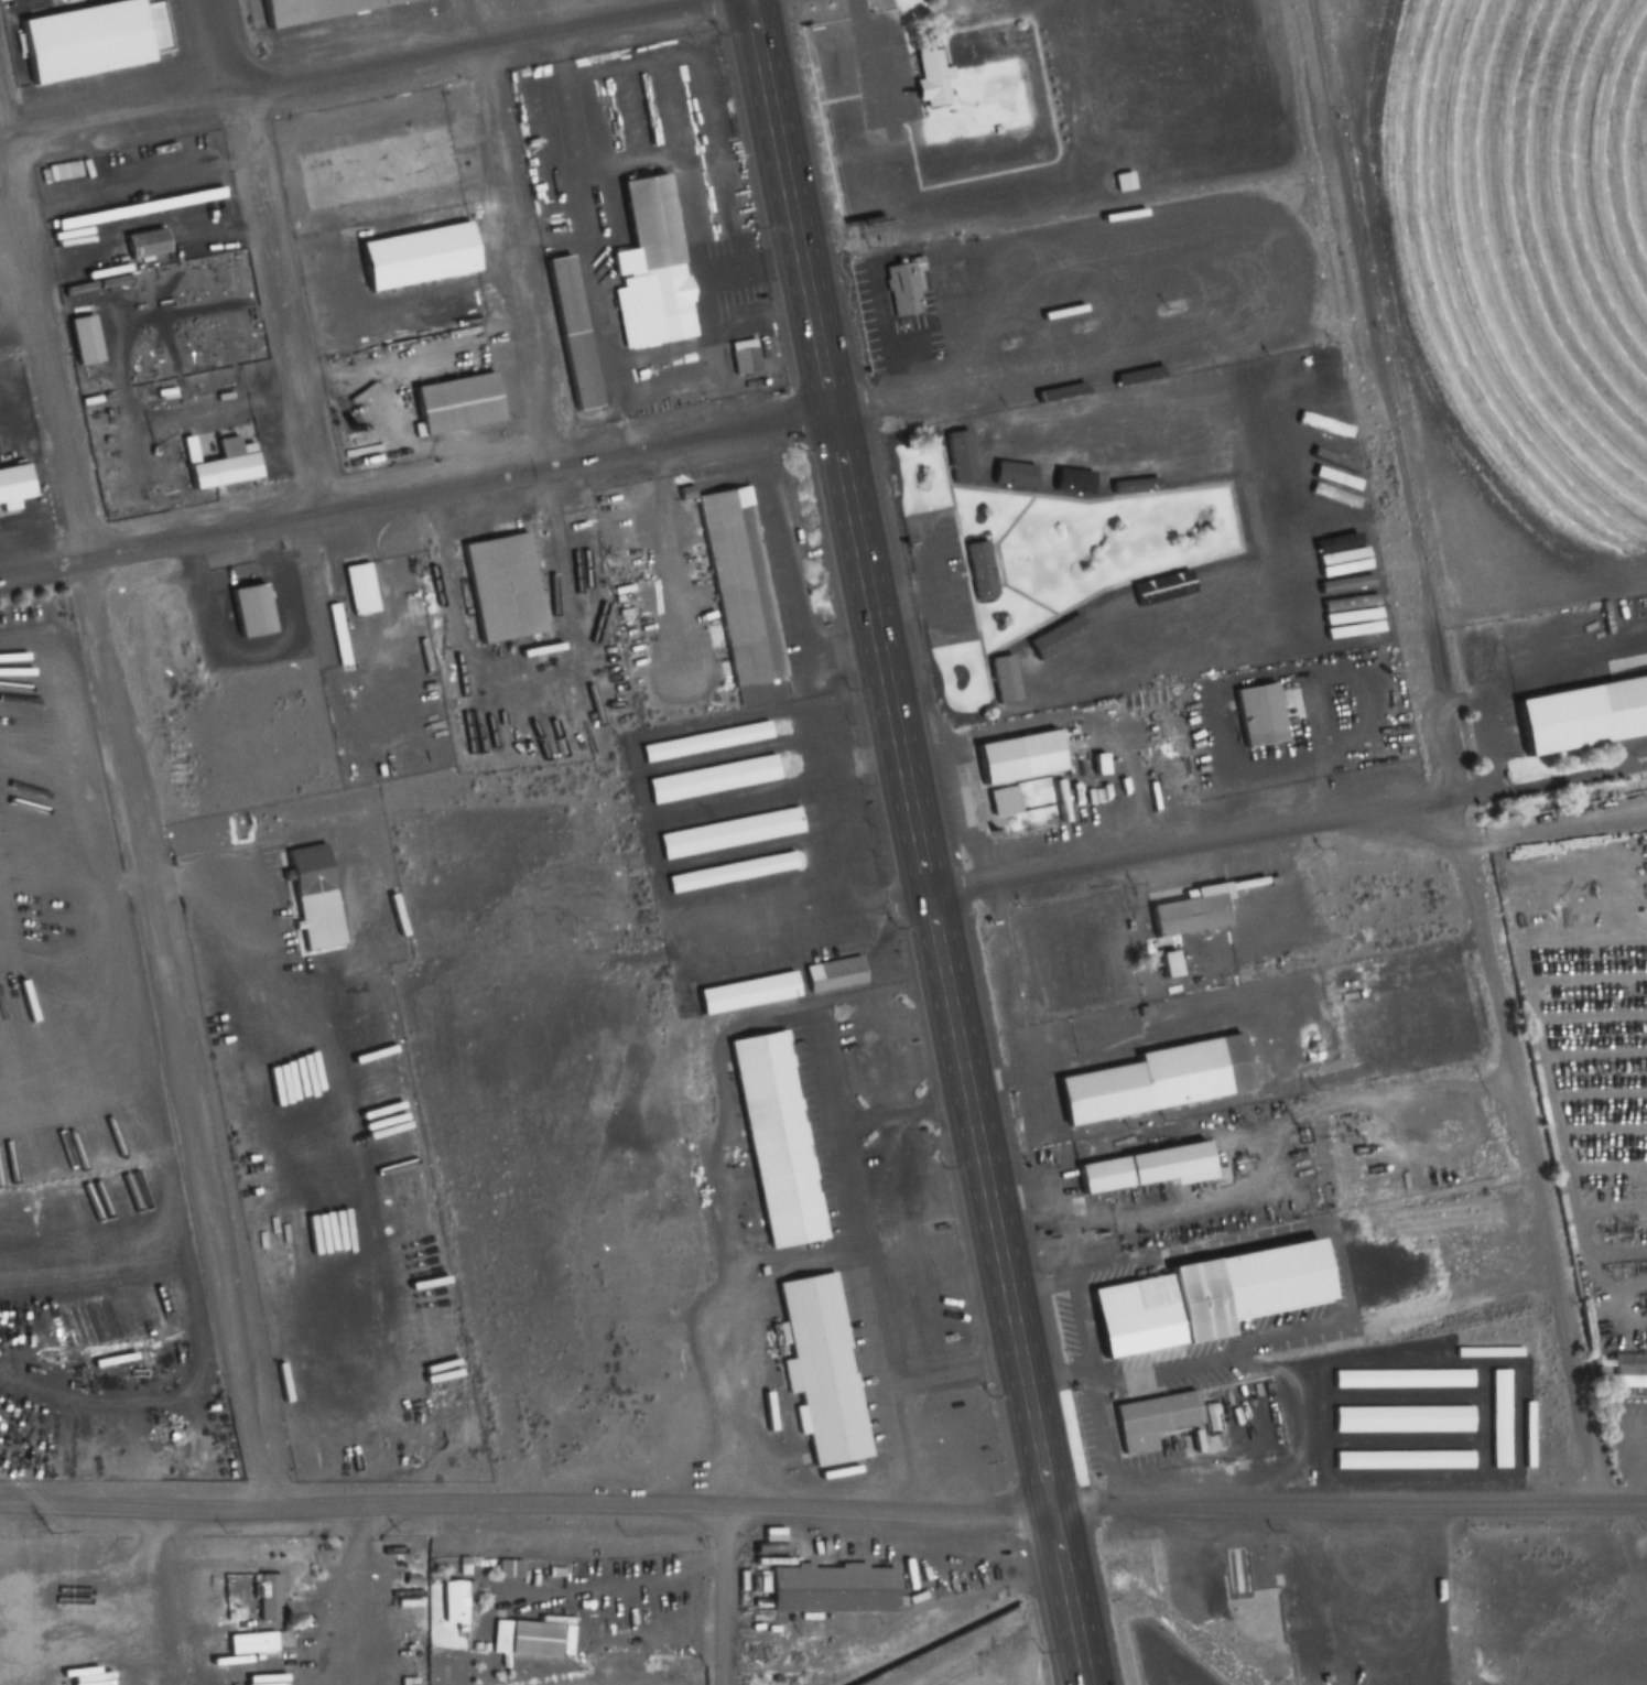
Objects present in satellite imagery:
building: (290, 6)
road: (466, 21)
building: (79, 35)
road: (231, 46)
road: (331, 73)
building: (930, 78)
building: (1120, 181)
building: (147, 206)
building: (143, 242)
building: (415, 256)
road: (511, 257)
building: (649, 266)
building: (901, 289)
road: (280, 303)
building: (571, 332)
road: (1334, 333)
building: (743, 356)
building: (454, 402)
road: (750, 433)
road: (614, 460)
building: (218, 463)
building: (1037, 477)
building: (1104, 480)
building: (12, 487)
building: (1251, 512)
road: (41, 570)
building: (978, 570)
building: (737, 585)
building: (498, 587)
building: (357, 588)
building: (247, 611)
road: (447, 612)
road: (386, 624)
building: (1073, 625)
building: (335, 634)
building: (1003, 676)
road: (107, 682)
building: (1585, 709)
building: (1256, 714)
road: (503, 722)
building: (702, 741)
building: (1015, 756)
building: (709, 778)
building: (1001, 800)
road: (1287, 832)
building: (727, 833)
road: (913, 842)
building: (307, 872)
building: (728, 873)
building: (364, 904)
building: (1188, 911)
building: (832, 971)
building: (740, 987)
building: (1150, 1081)
building: (772, 1133)
road: (1520, 1148)
building: (1140, 1169)
building: (1198, 1299)
building: (820, 1369)
building: (1627, 1371)
building: (1399, 1379)
building: (1497, 1418)
building: (1400, 1419)
building: (1149, 1421)
building: (1210, 1421)
building: (1527, 1434)
building: (1401, 1460)
road: (823, 1505)
building: (508, 1568)
building: (828, 1589)
road: (725, 1595)
building: (1421, 1597)
building: (454, 1599)
building: (532, 1638)
building: (248, 1643)

